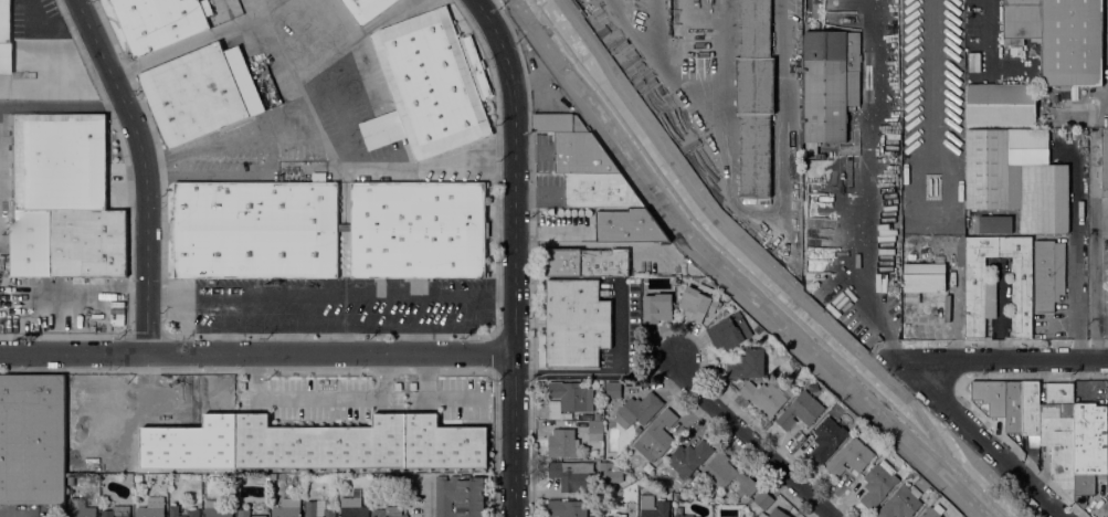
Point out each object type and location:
road: (256, 7)
road: (266, 7)
building: (367, 9)
road: (251, 15)
road: (336, 18)
road: (984, 20)
building: (1021, 20)
building: (159, 22)
road: (356, 35)
building: (6, 38)
building: (1073, 42)
building: (830, 84)
building: (430, 85)
building: (200, 93)
building: (755, 96)
building: (1001, 104)
road: (1083, 104)
road: (62, 106)
building: (557, 123)
road: (319, 139)
building: (936, 148)
building: (580, 154)
building: (57, 161)
building: (1105, 162)
road: (144, 169)
building: (906, 169)
building: (1017, 177)
building: (599, 190)
building: (911, 199)
building: (914, 221)
building: (627, 224)
building: (995, 224)
building: (328, 229)
road: (549, 233)
building: (67, 242)
road: (741, 246)
road: (514, 254)
building: (911, 257)
building: (1107, 257)
building: (939, 258)
road: (1077, 258)
building: (587, 262)
building: (4, 263)
road: (714, 272)
building: (1048, 275)
building: (922, 279)
road: (330, 293)
road: (74, 296)
building: (981, 297)
building: (698, 302)
building: (657, 306)
building: (576, 323)
building: (729, 331)
road: (256, 354)
road: (1011, 359)
building: (747, 363)
road: (611, 371)
building: (613, 389)
building: (764, 393)
building: (572, 395)
building: (990, 395)
road: (150, 398)
road: (432, 398)
road: (318, 400)
building: (1013, 407)
building: (1030, 408)
building: (639, 410)
building: (800, 411)
building: (595, 430)
building: (1058, 431)
building: (656, 436)
building: (827, 439)
building: (1089, 439)
building: (1107, 439)
building: (32, 440)
road: (750, 440)
road: (985, 442)
building: (360, 443)
building: (563, 443)
building: (199, 455)
building: (851, 457)
building: (688, 458)
building: (610, 472)
building: (571, 474)
building: (725, 474)
building: (401, 478)
building: (630, 478)
building: (92, 479)
building: (384, 481)
building: (878, 484)
road: (1001, 486)
building: (1083, 488)
building: (458, 496)
building: (683, 497)
building: (763, 499)
building: (901, 503)
building: (152, 507)
building: (352, 507)
building: (653, 507)
building: (80, 508)
building: (288, 508)
building: (569, 508)
building: (217, 509)
building: (318, 509)
building: (933, 510)
building: (117, 511)
building: (182, 511)
building: (387, 511)
building: (680, 513)
building: (247, 514)
building: (774, 514)
building: (620, 515)

